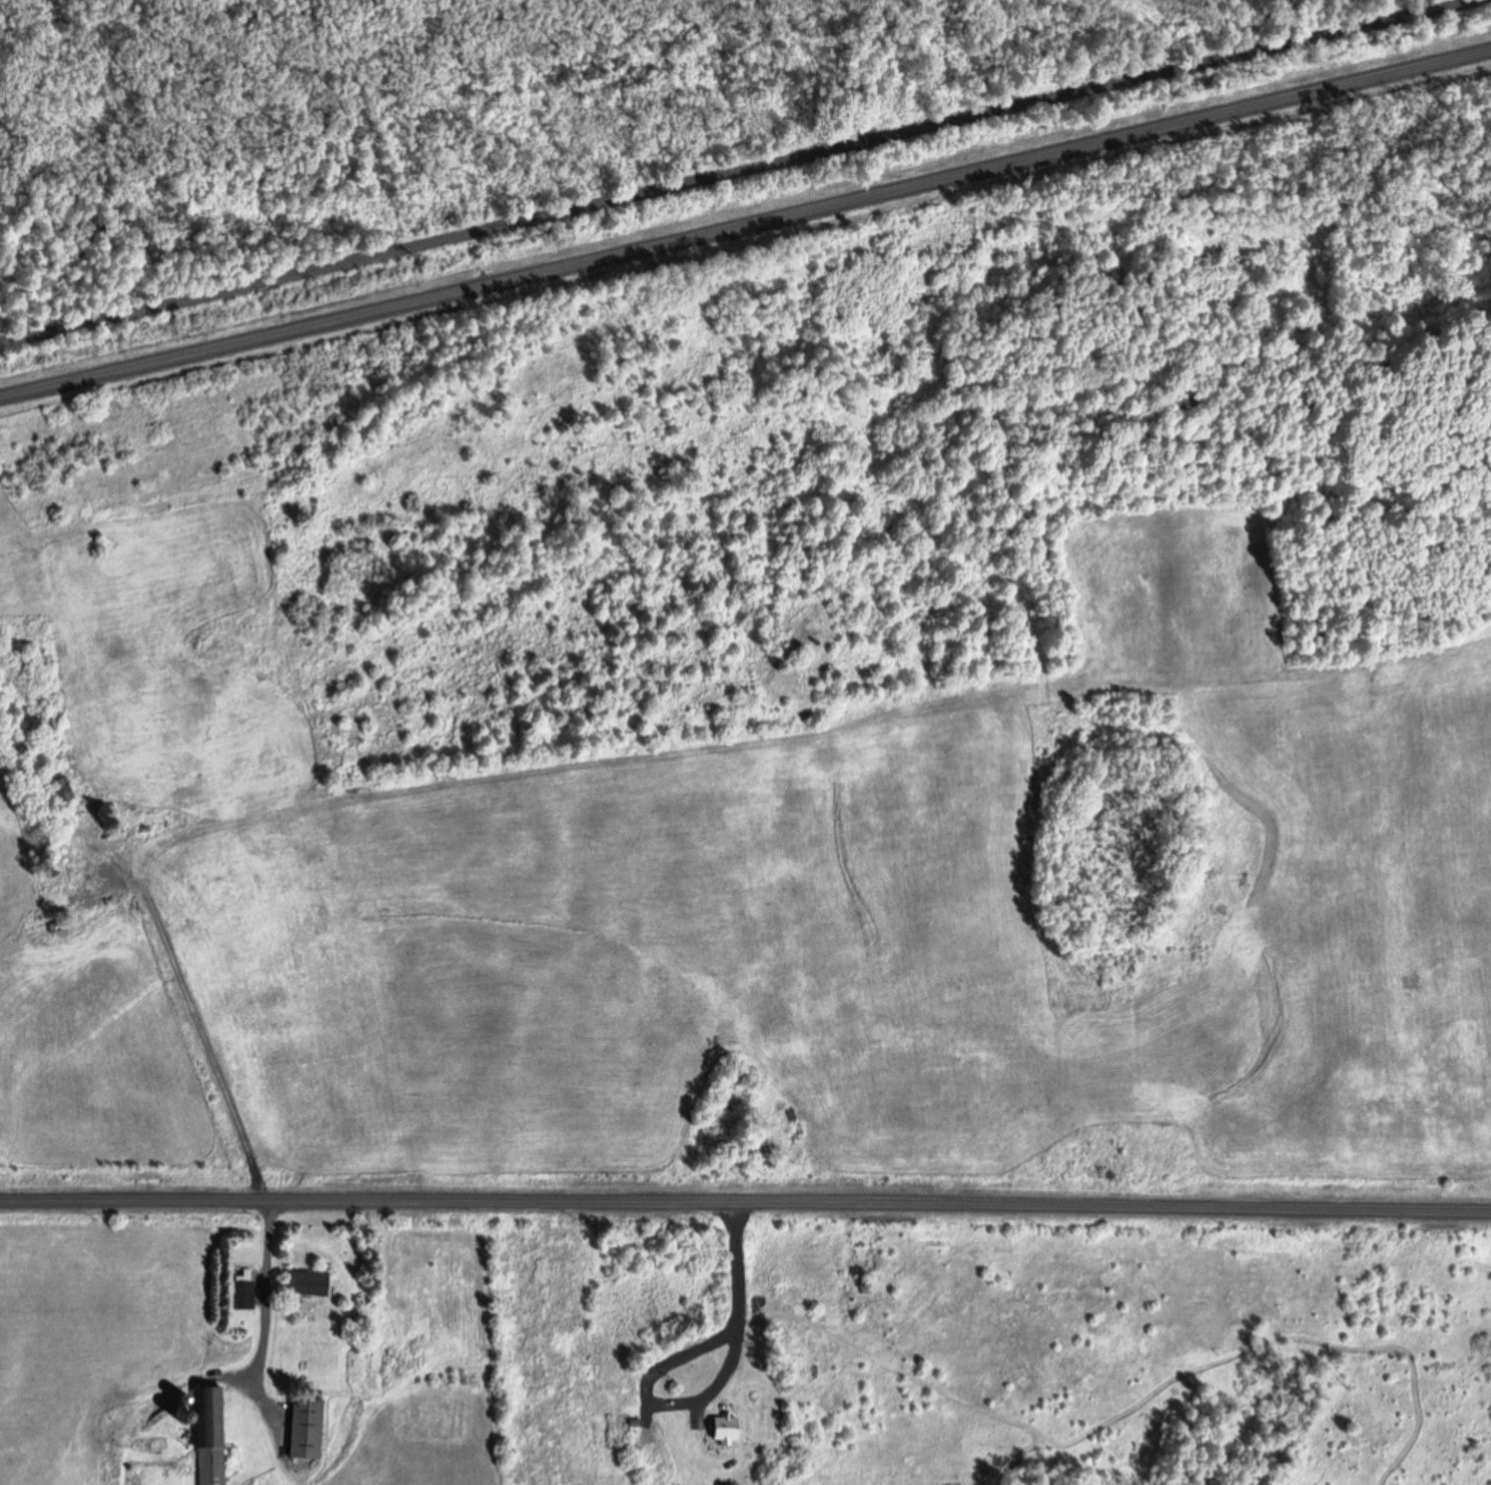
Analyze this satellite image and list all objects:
road: (745, 173)
road: (745, 224)
building: (59, 791)
road: (199, 1028)
road: (745, 1205)
building: (307, 1286)
building: (242, 1295)
road: (267, 1308)
road: (740, 1313)
building: (725, 1431)
building: (304, 1432)
building: (209, 1437)

